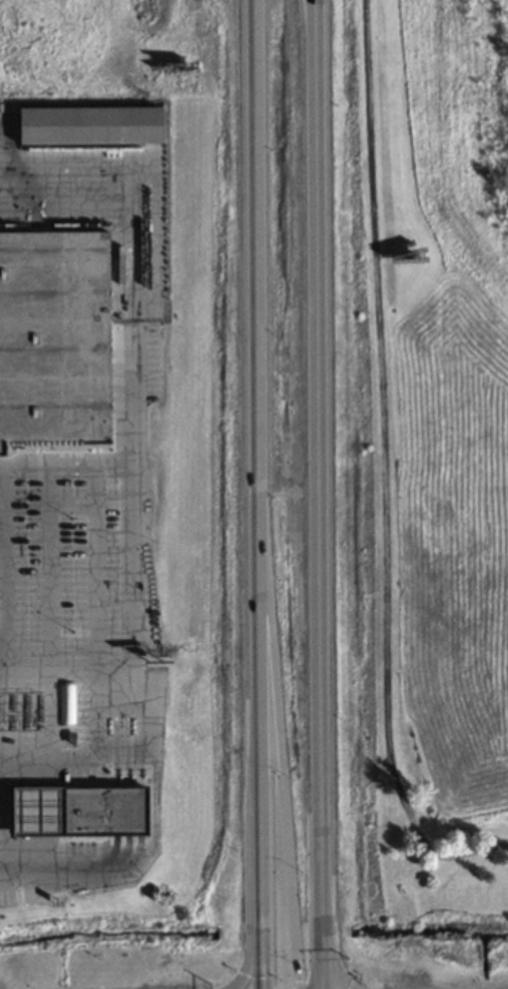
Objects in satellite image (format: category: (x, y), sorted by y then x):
building: (88, 125)
building: (55, 338)
road: (385, 470)
road: (260, 494)
road: (320, 494)
road: (131, 617)
building: (81, 706)
road: (281, 767)
building: (75, 810)

